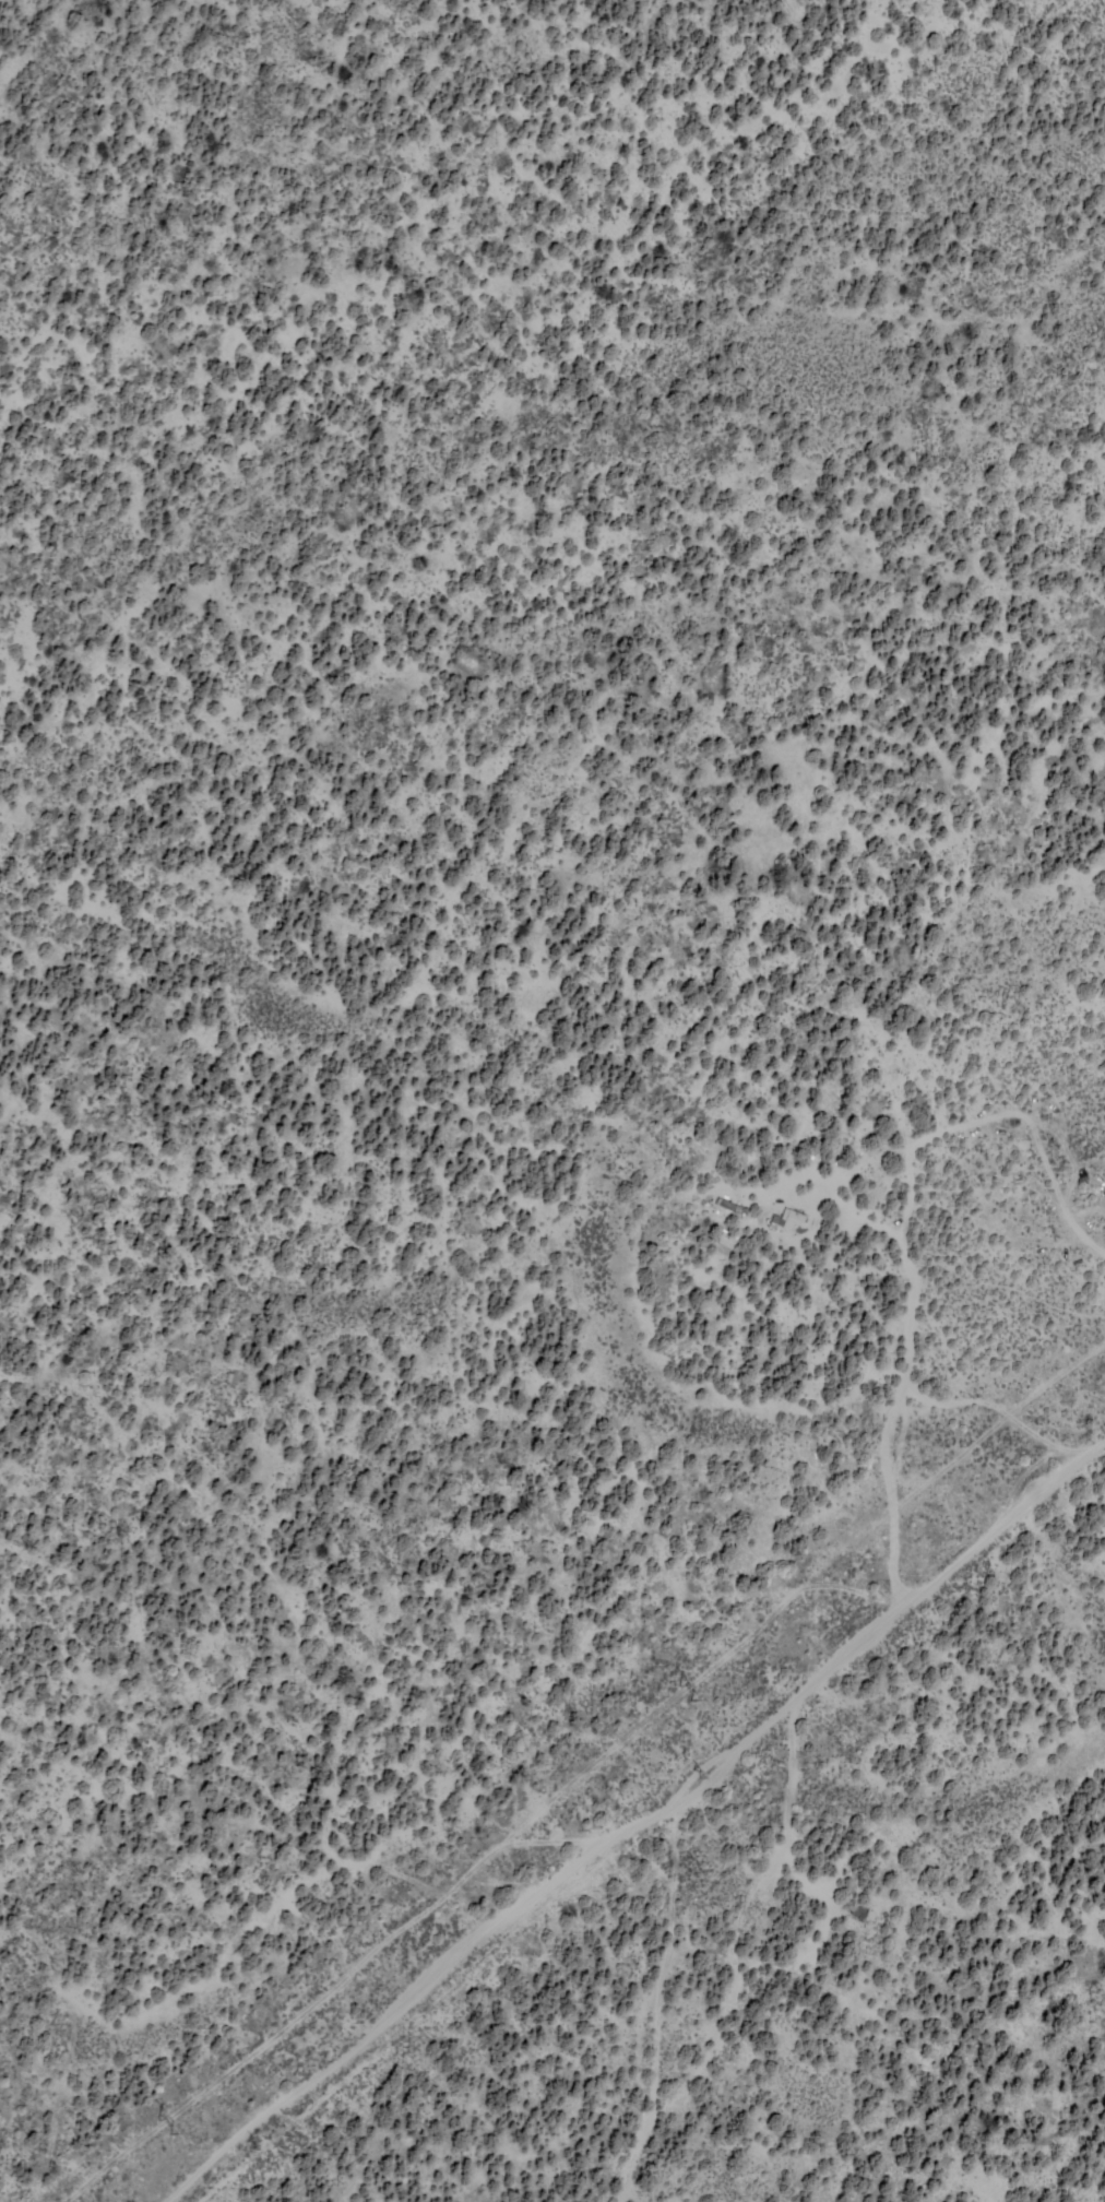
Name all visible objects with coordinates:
power tower: (678, 1695)
power tower: (704, 1775)
road: (606, 1785)
power tower: (161, 2127)
power tower: (253, 2144)

